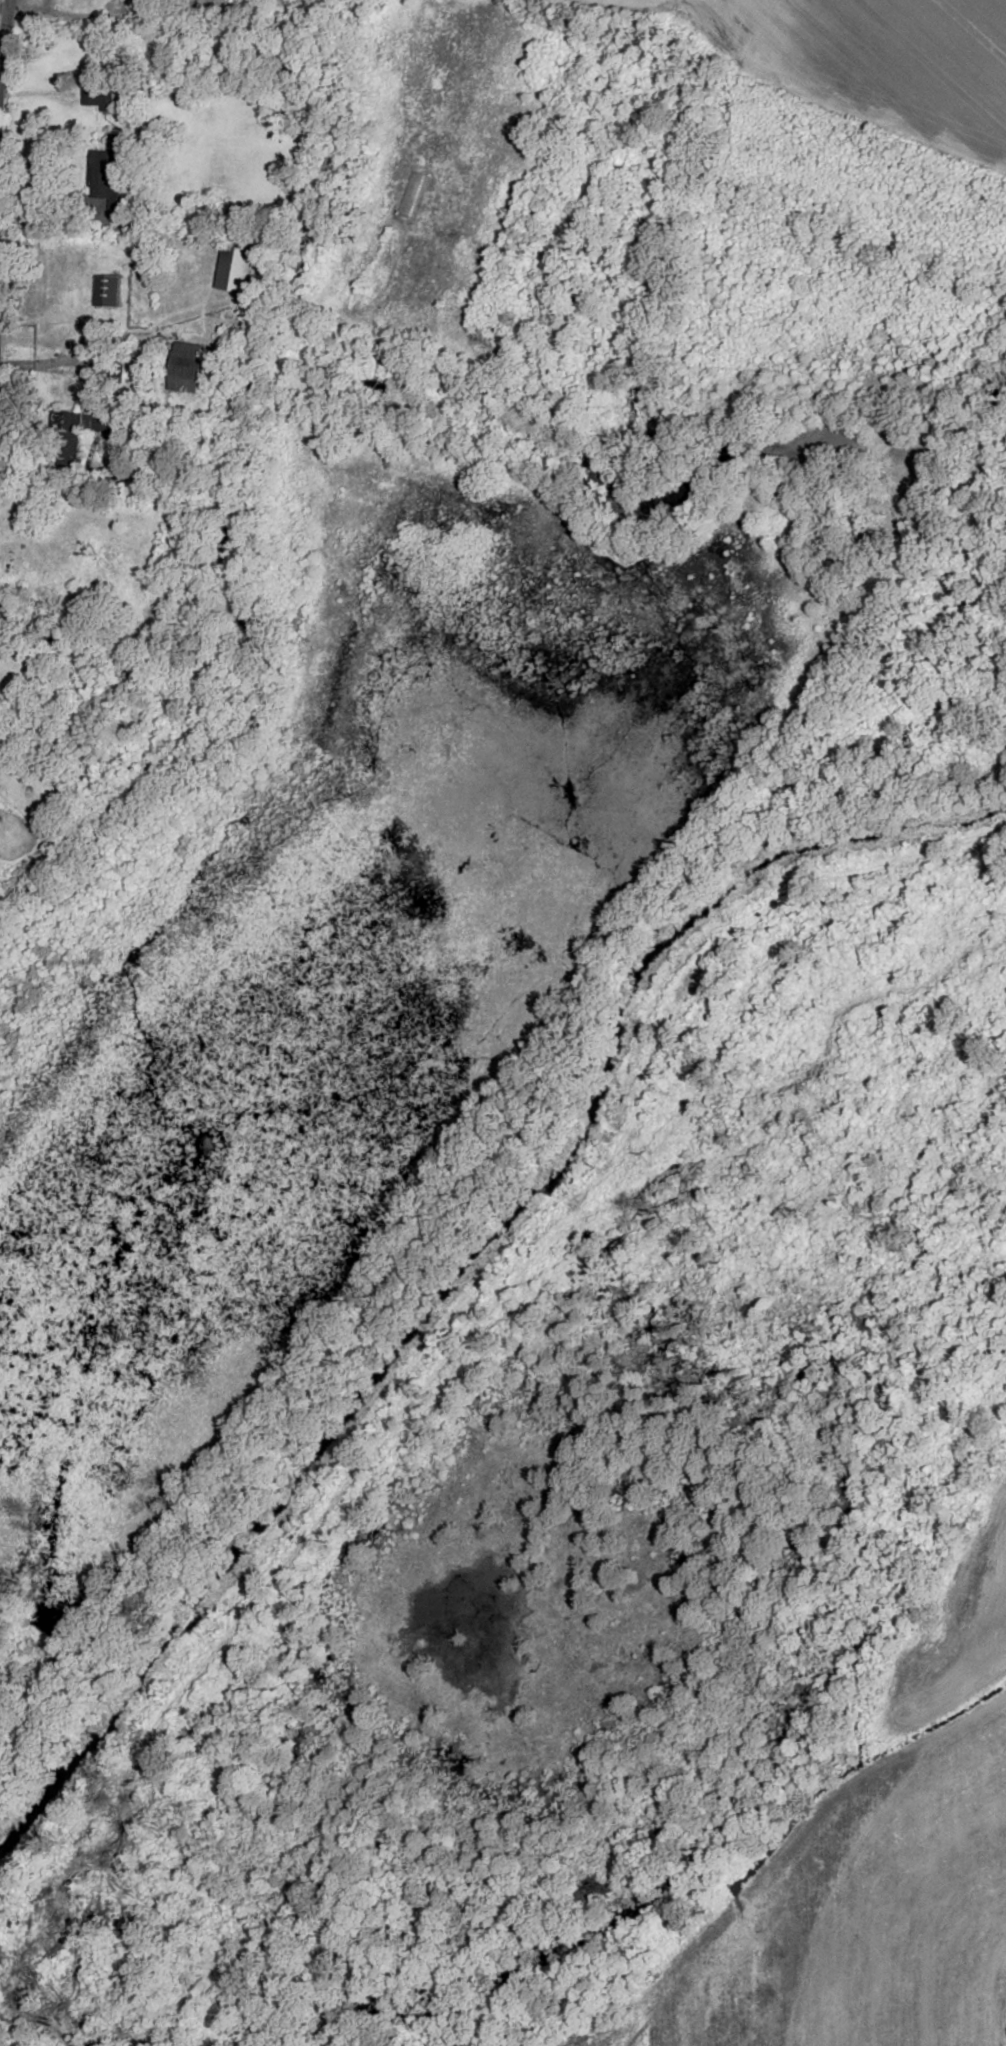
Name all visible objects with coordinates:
building: (221, 5)
road: (2, 9)
building: (96, 92)
building: (108, 171)
building: (234, 268)
building: (106, 290)
road: (342, 309)
building: (186, 368)
building: (67, 445)
building: (0, 617)

